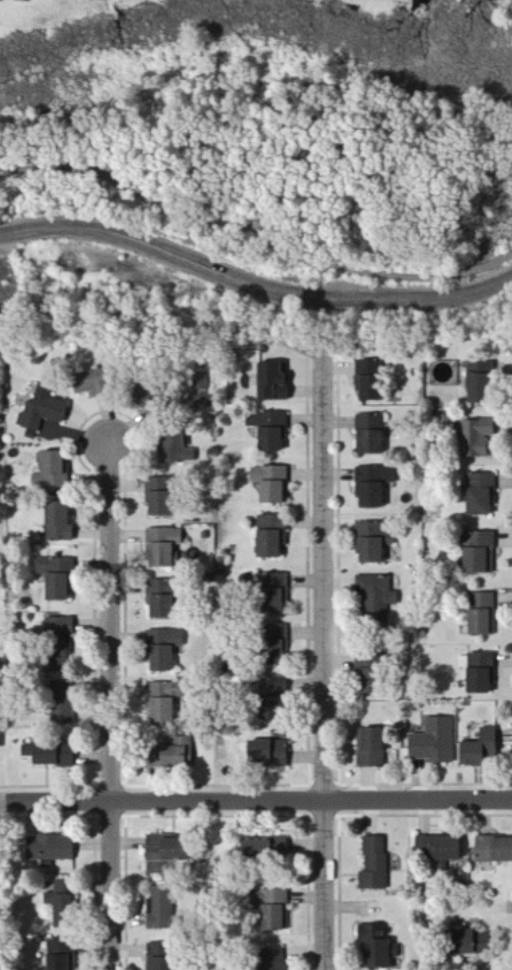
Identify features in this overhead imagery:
road: (255, 231)
road: (253, 281)
building: (272, 381)
building: (368, 381)
building: (477, 383)
building: (41, 410)
building: (267, 430)
building: (369, 435)
building: (475, 438)
building: (173, 448)
building: (49, 472)
building: (270, 484)
building: (372, 485)
building: (477, 491)
building: (156, 497)
building: (56, 523)
building: (267, 536)
building: (372, 542)
building: (161, 547)
building: (477, 553)
building: (54, 577)
building: (272, 593)
building: (158, 599)
building: (374, 600)
building: (480, 614)
building: (58, 645)
building: (274, 645)
building: (161, 649)
road: (325, 662)
building: (478, 673)
building: (365, 675)
building: (271, 694)
road: (113, 708)
building: (159, 711)
building: (433, 742)
building: (370, 748)
building: (478, 749)
building: (265, 753)
building: (46, 755)
building: (167, 757)
road: (256, 801)
building: (262, 848)
building: (48, 849)
building: (163, 849)
building: (435, 849)
building: (493, 850)
building: (373, 865)
building: (58, 905)
building: (159, 909)
building: (270, 909)
building: (467, 943)
building: (374, 948)
building: (56, 955)
building: (158, 957)
building: (272, 959)

